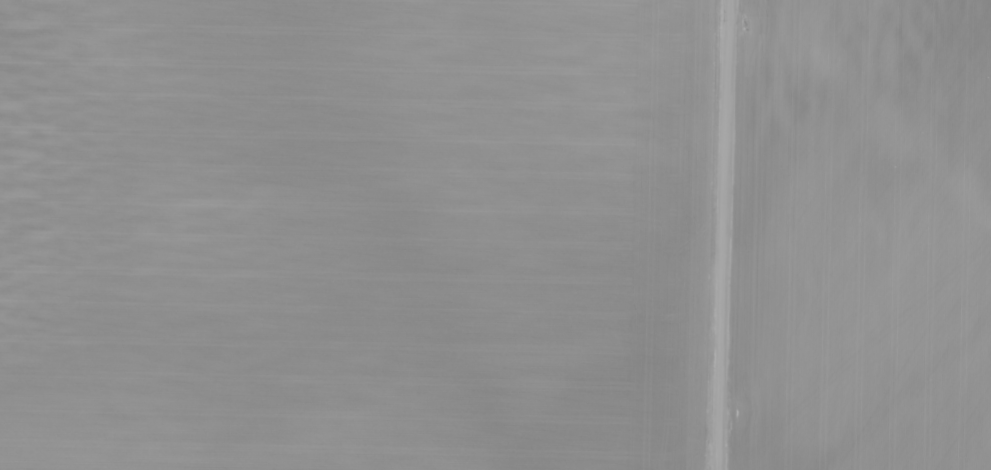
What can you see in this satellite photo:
road: (733, 235)

